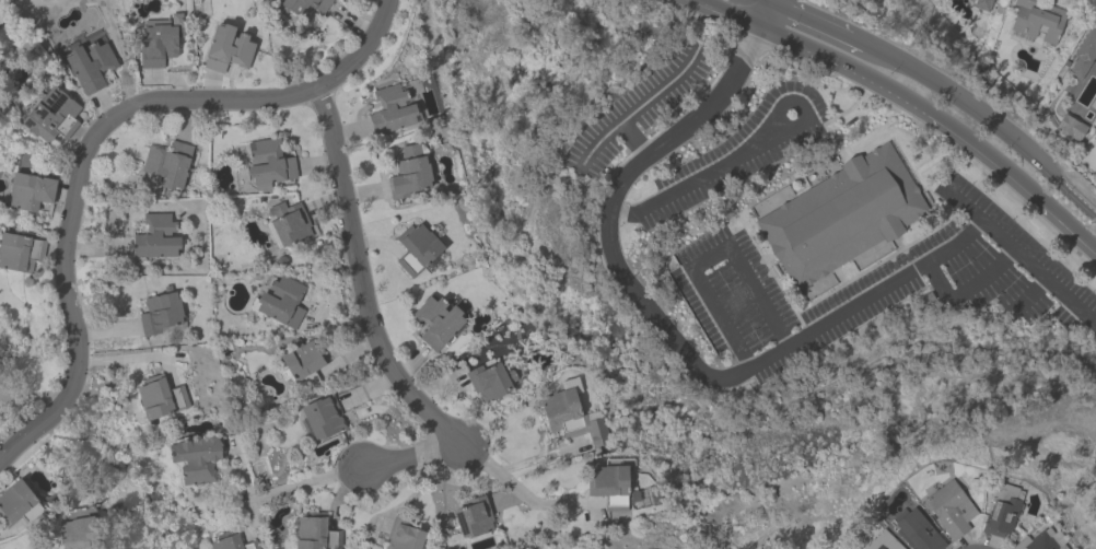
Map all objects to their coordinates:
road: (766, 0)
building: (981, 4)
building: (304, 7)
road: (732, 11)
road: (762, 11)
building: (1037, 19)
building: (158, 42)
building: (228, 48)
building: (1084, 51)
building: (90, 65)
road: (945, 87)
road: (641, 105)
building: (390, 108)
building: (50, 114)
road: (936, 121)
road: (92, 139)
road: (599, 144)
building: (1091, 156)
building: (166, 163)
building: (268, 163)
building: (409, 173)
road: (704, 176)
building: (30, 190)
building: (842, 215)
building: (288, 224)
building: (156, 236)
building: (417, 245)
building: (16, 249)
road: (708, 254)
road: (970, 282)
building: (279, 301)
building: (160, 311)
road: (338, 319)
building: (436, 320)
road: (383, 351)
road: (128, 357)
building: (301, 359)
road: (719, 378)
building: (488, 381)
road: (34, 396)
building: (160, 396)
building: (571, 413)
building: (320, 417)
road: (8, 437)
road: (412, 455)
road: (528, 457)
building: (195, 459)
road: (303, 481)
building: (613, 483)
road: (244, 489)
road: (340, 490)
road: (412, 493)
building: (18, 502)
building: (949, 507)
building: (1002, 510)
building: (473, 515)
building: (78, 529)
building: (914, 529)
building: (315, 533)
building: (403, 535)
building: (1042, 540)
building: (232, 541)
building: (882, 541)

